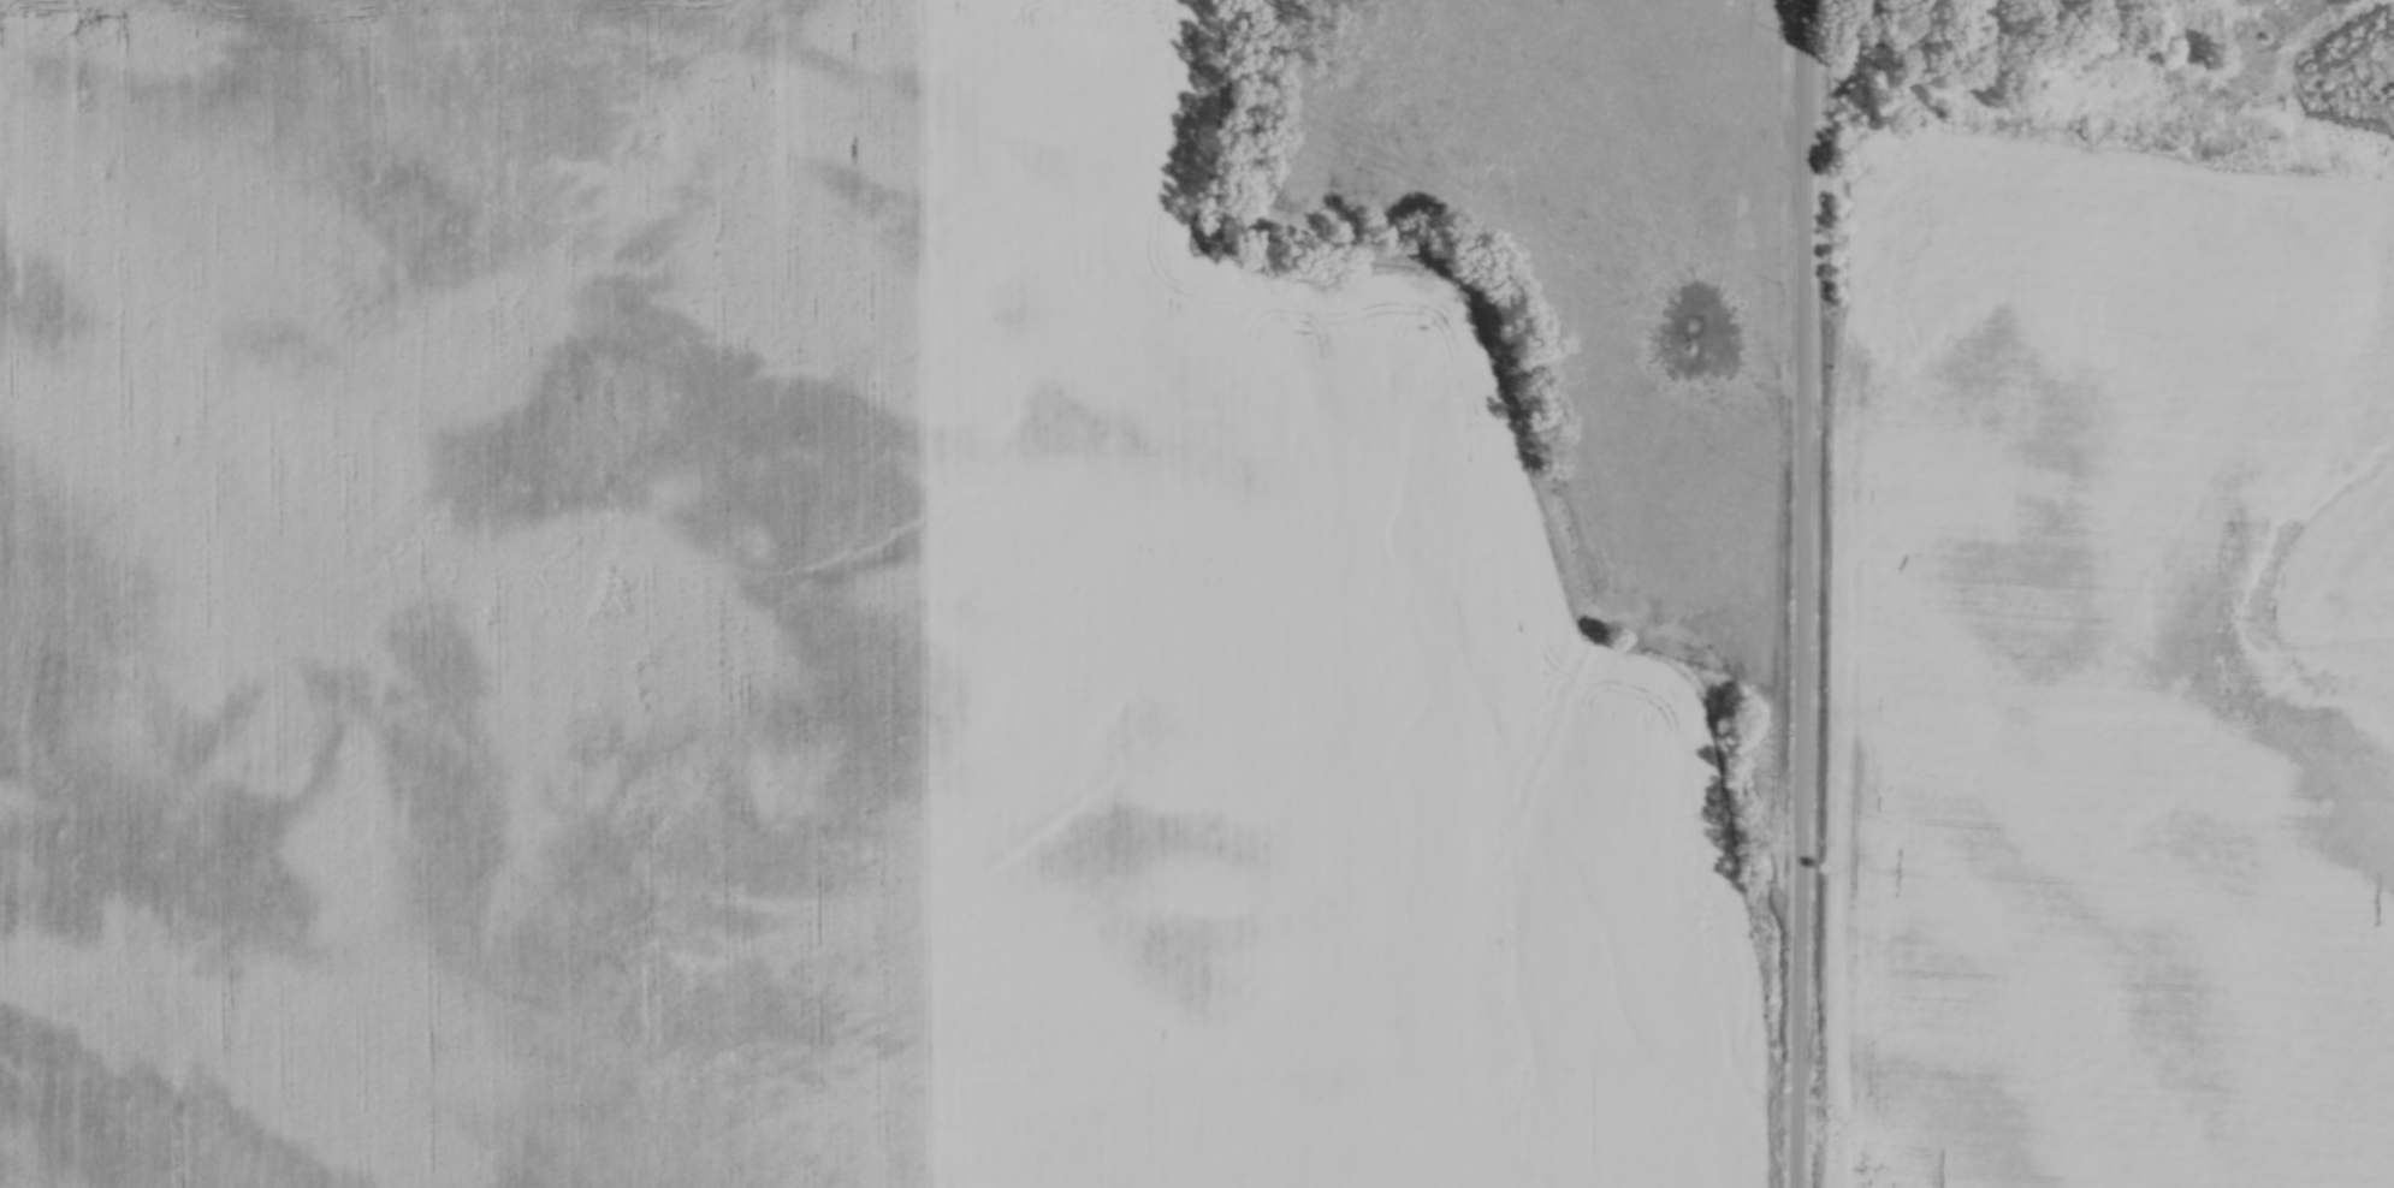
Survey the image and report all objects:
road: (1803, 594)

